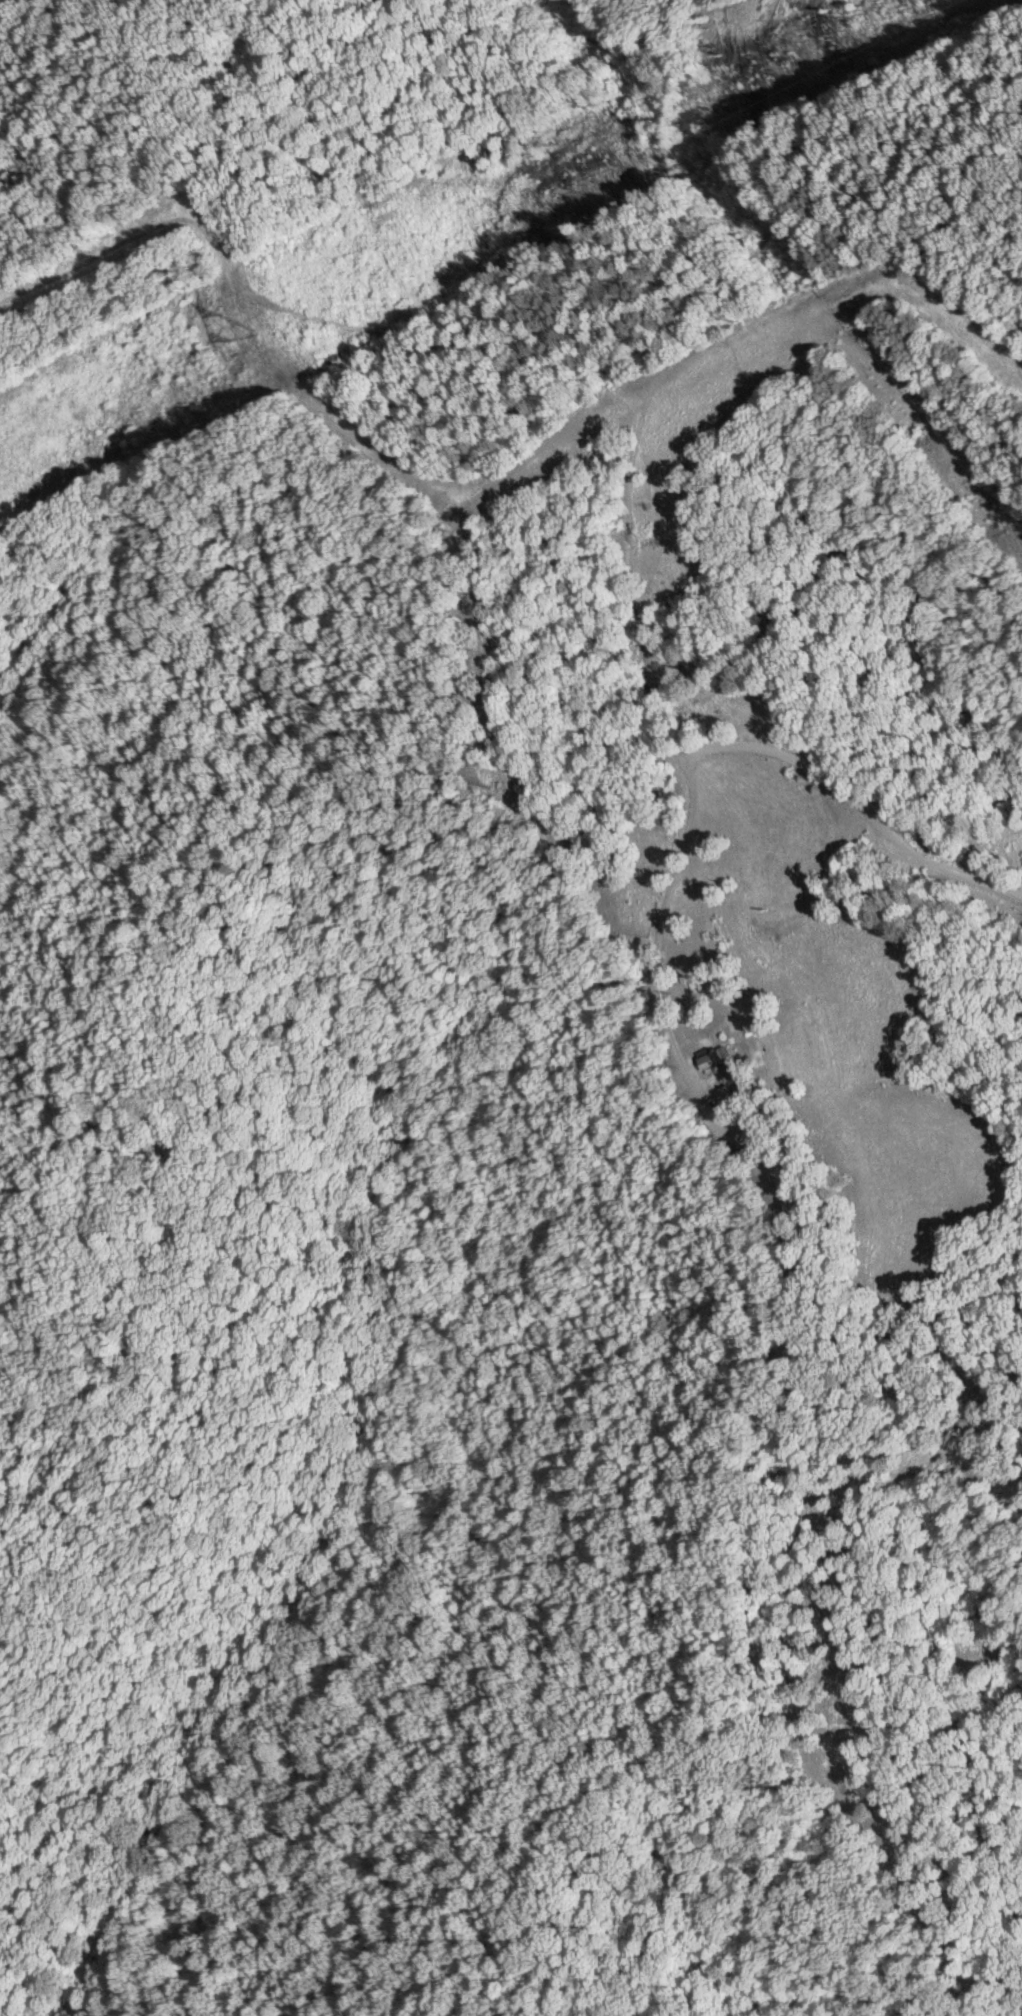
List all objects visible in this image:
power tower: (253, 328)
building: (710, 1057)

